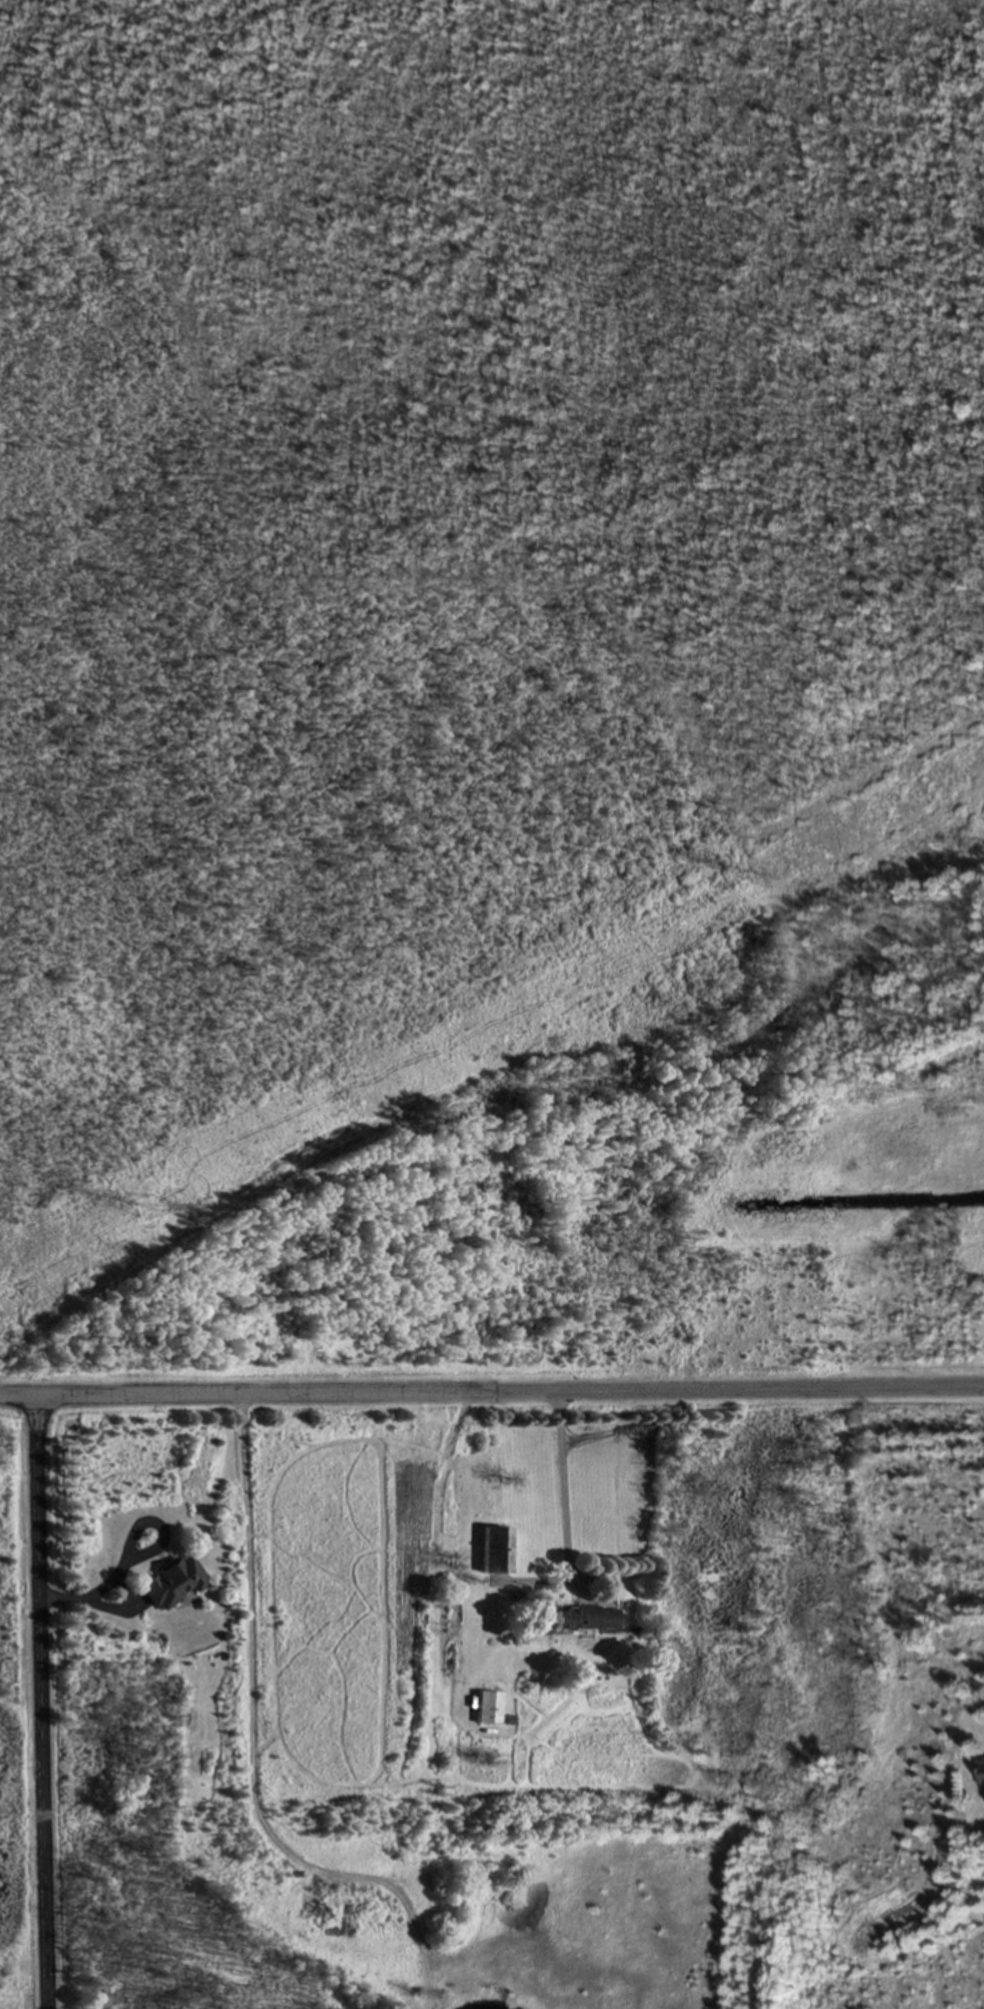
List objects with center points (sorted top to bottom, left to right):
power tower: (767, 885)
power tower: (151, 1216)
road: (491, 1390)
road: (563, 1489)
road: (132, 1540)
building: (494, 1551)
building: (171, 1584)
building: (584, 1619)
road: (43, 1701)
building: (487, 1708)
building: (982, 1779)

